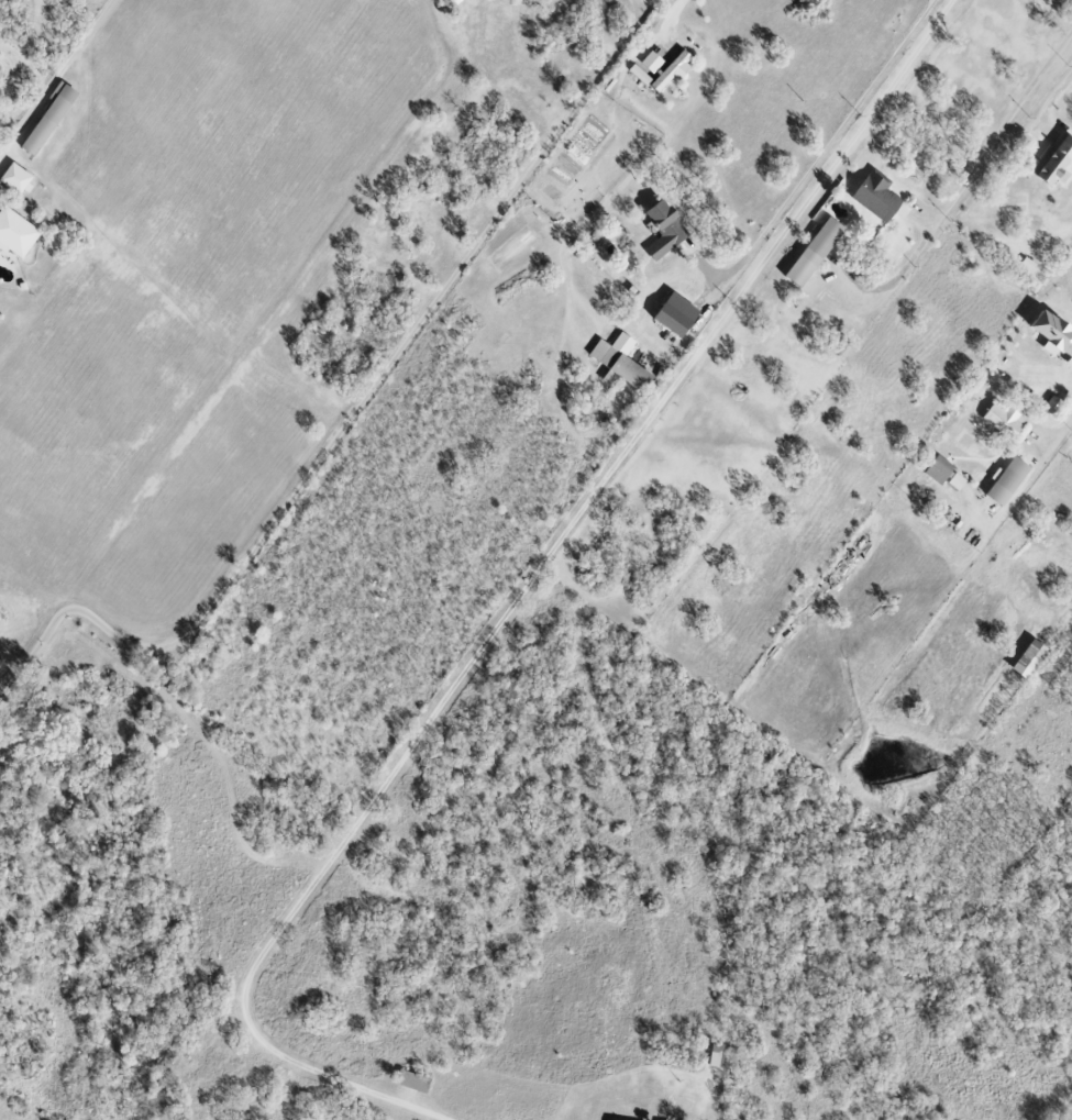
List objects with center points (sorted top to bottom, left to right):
road: (642, 3)
road: (671, 15)
building: (654, 62)
building: (675, 69)
building: (641, 75)
road: (55, 77)
road: (1051, 100)
building: (51, 120)
road: (817, 159)
building: (1057, 162)
building: (18, 178)
road: (962, 179)
building: (878, 197)
building: (0, 202)
building: (666, 229)
building: (16, 233)
building: (817, 252)
building: (678, 315)
building: (1054, 332)
building: (622, 363)
building: (1071, 364)
building: (1054, 403)
road: (350, 418)
building: (1006, 420)
road: (1038, 464)
building: (941, 470)
building: (1009, 481)
road: (520, 596)
building: (1031, 659)
building: (413, 1082)

